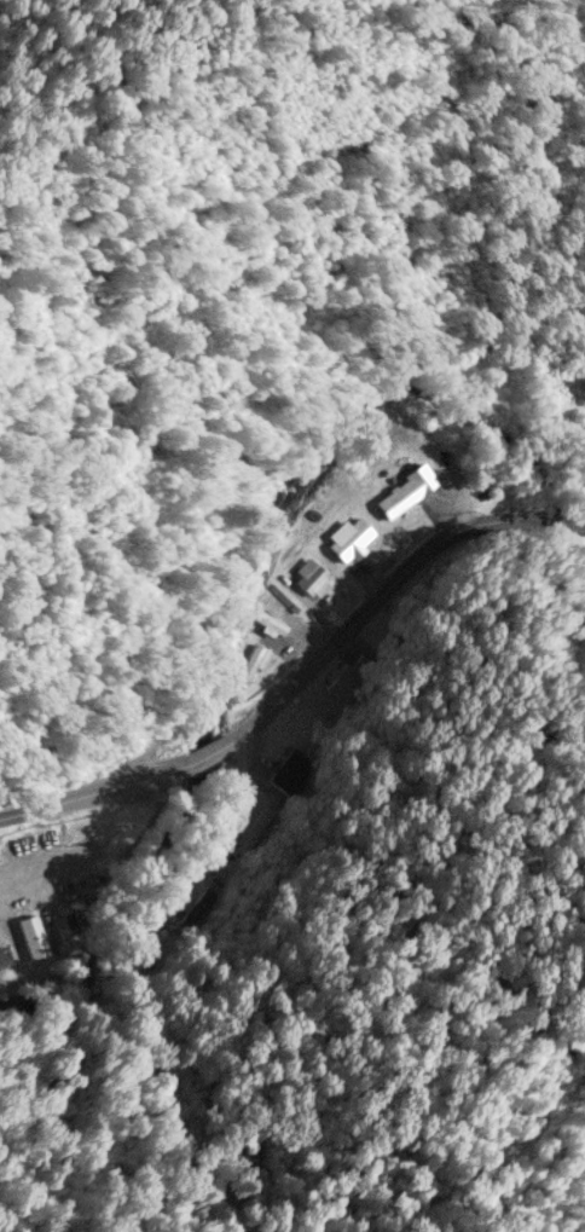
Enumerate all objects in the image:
building: (404, 493)
building: (348, 539)
building: (311, 578)
building: (250, 664)
road: (305, 677)
building: (342, 683)
building: (286, 771)
building: (253, 829)
building: (195, 907)
building: (30, 937)
building: (4, 956)

